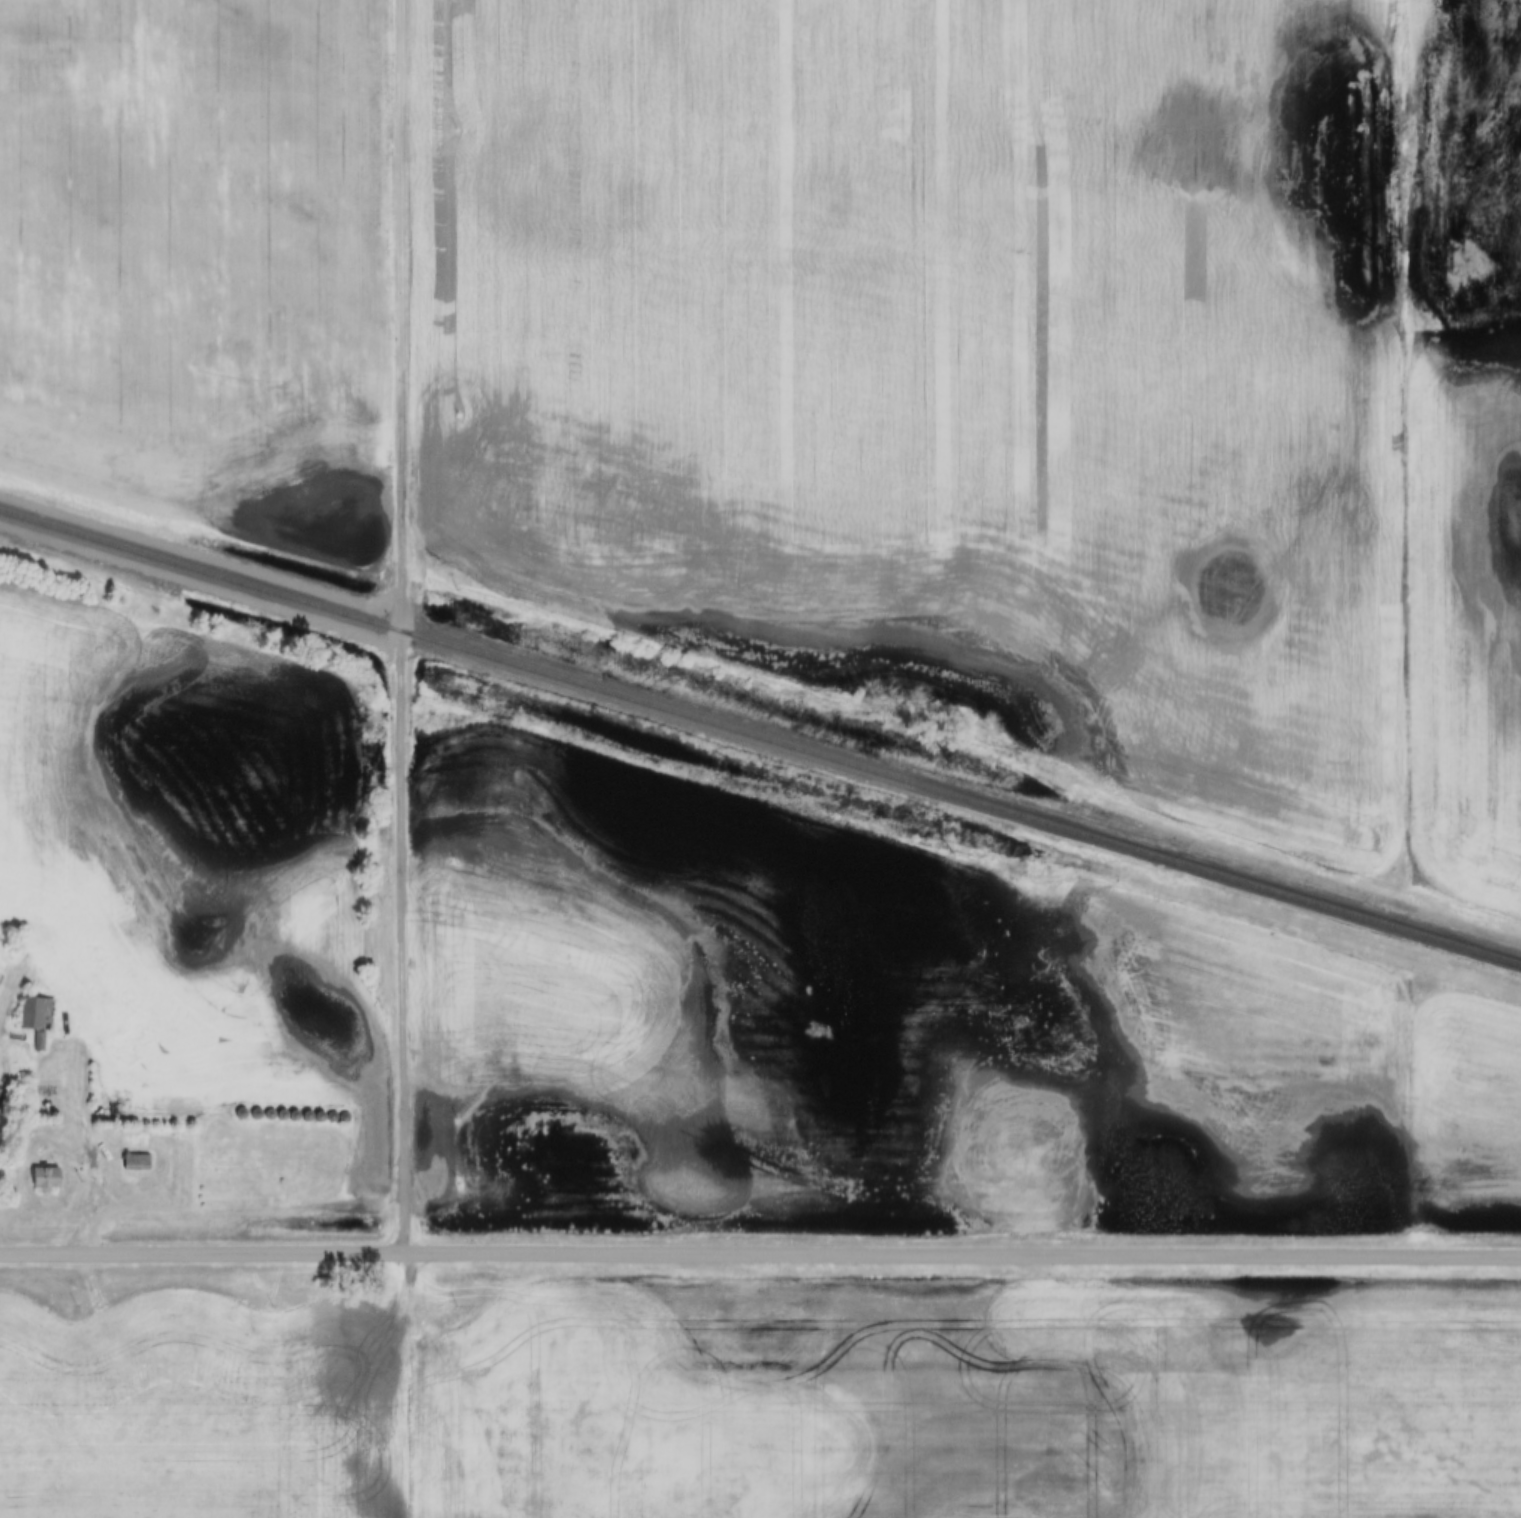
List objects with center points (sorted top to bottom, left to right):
crop: (1471, 442)
road: (398, 627)
railway: (760, 740)
building: (35, 1020)
crop: (1464, 1103)
road: (85, 1146)
building: (134, 1163)
building: (48, 1180)
road: (760, 1256)
crop: (977, 1400)

